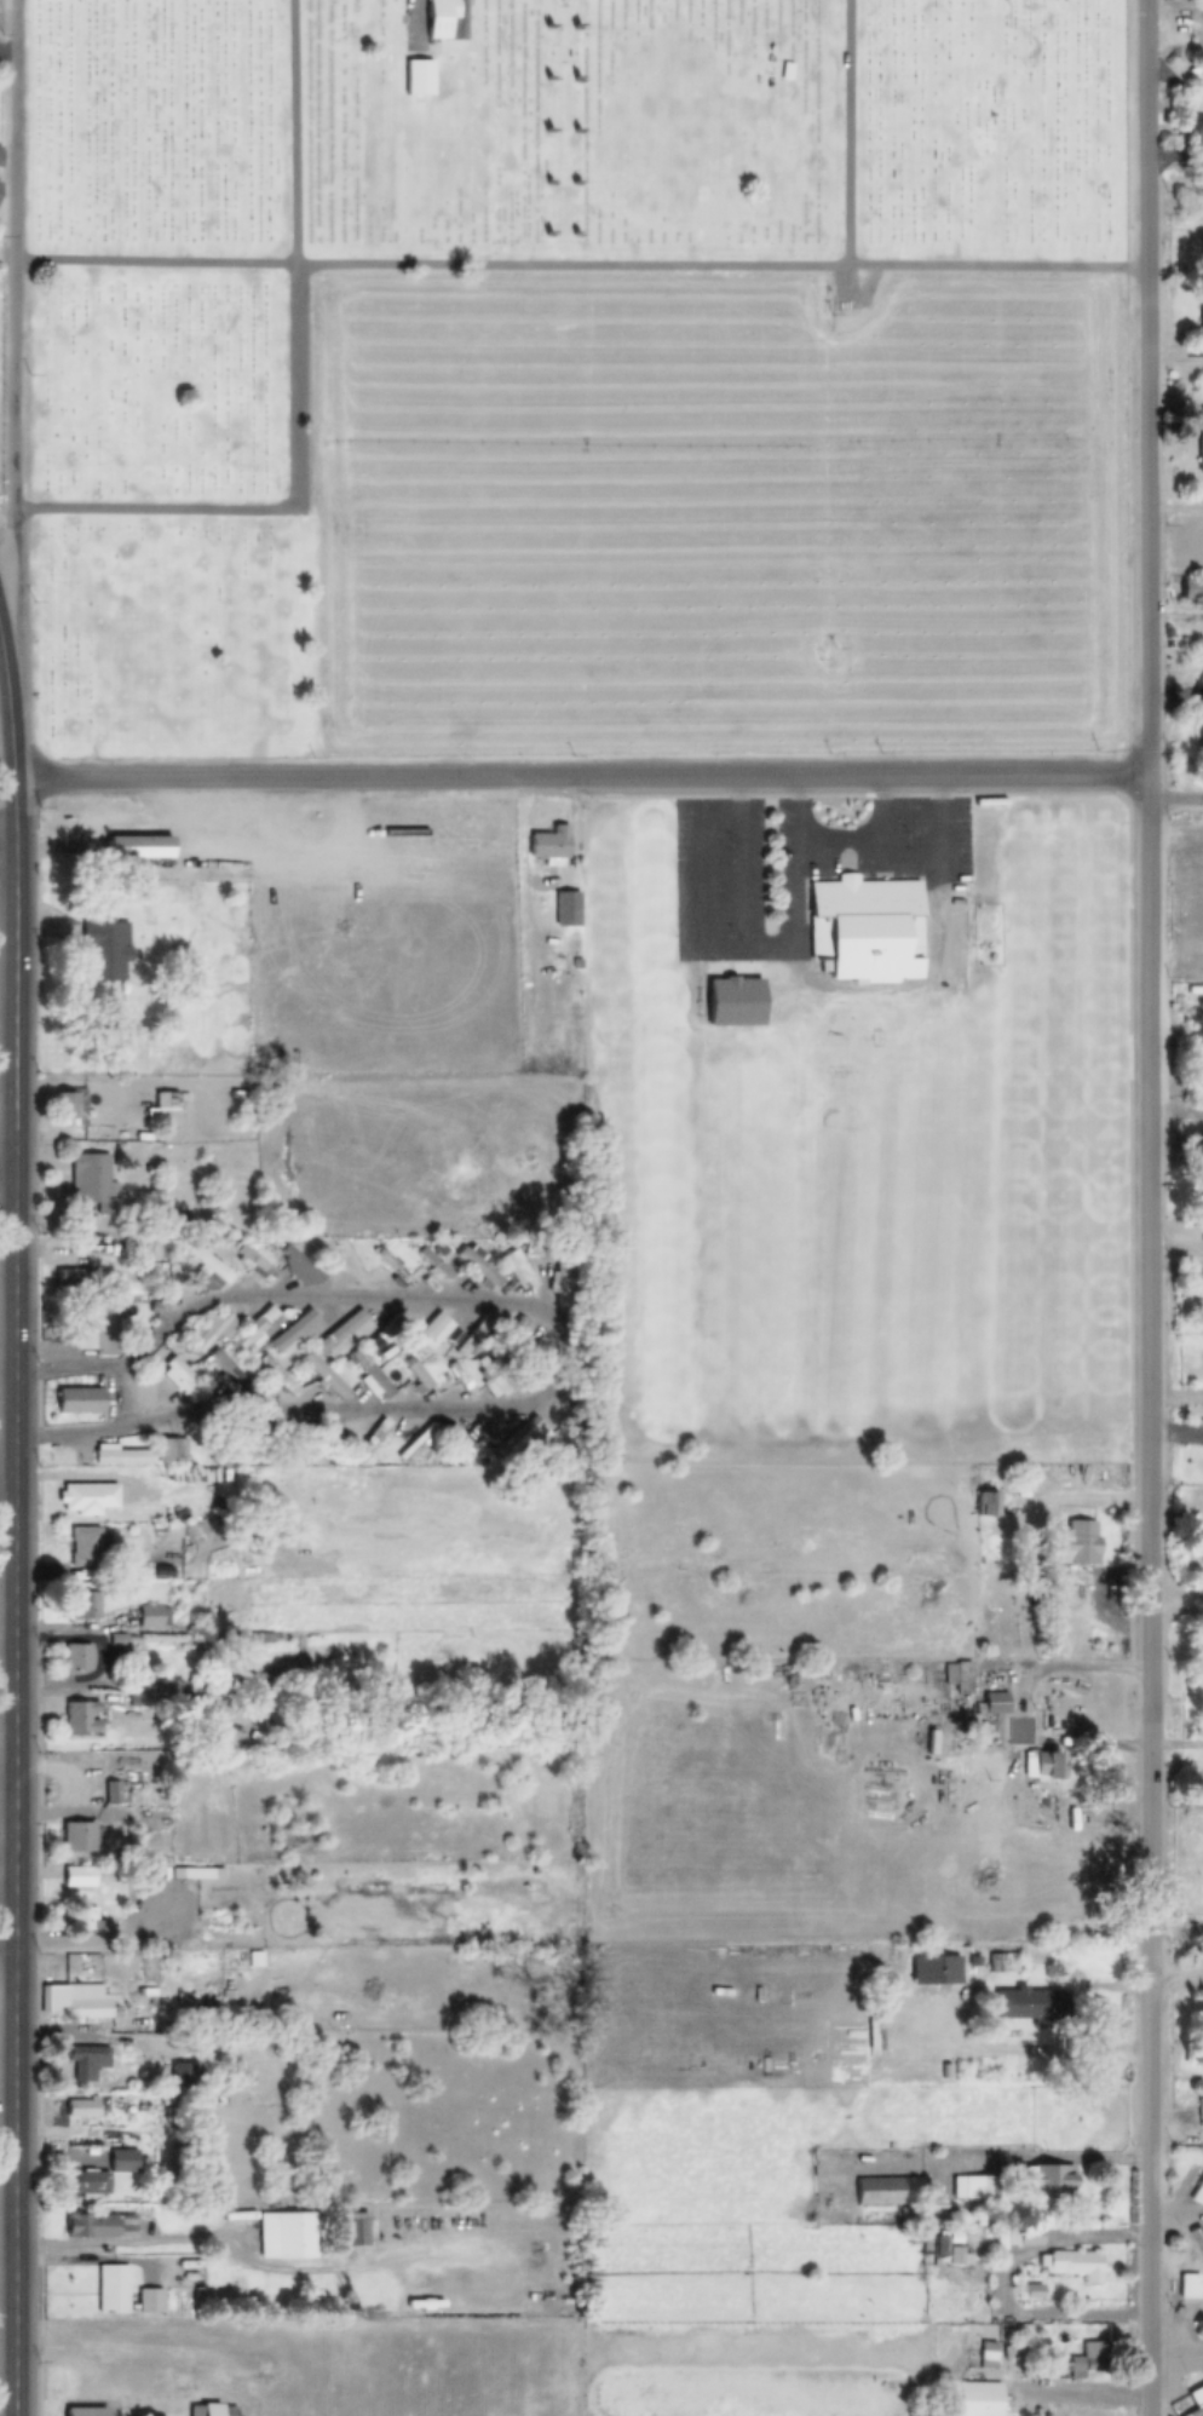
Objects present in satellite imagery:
building: (447, 21)
road: (293, 134)
road: (847, 134)
building: (0, 150)
road: (575, 269)
building: (1202, 318)
road: (10, 321)
park: (570, 378)
road: (1150, 390)
building: (1199, 444)
building: (1192, 588)
road: (1, 634)
building: (1202, 746)
road: (580, 780)
road: (1146, 792)
road: (1175, 804)
road: (8, 826)
building: (137, 846)
building: (554, 852)
road: (8, 857)
building: (566, 909)
building: (865, 928)
building: (103, 949)
building: (733, 1001)
building: (68, 1109)
building: (163, 1111)
building: (151, 1160)
road: (10, 1163)
building: (92, 1186)
building: (129, 1243)
building: (254, 1266)
building: (343, 1266)
building: (479, 1267)
building: (205, 1269)
building: (393, 1269)
building: (520, 1271)
building: (558, 1277)
building: (75, 1278)
building: (94, 1327)
building: (214, 1330)
building: (257, 1330)
building: (345, 1330)
building: (433, 1330)
building: (295, 1333)
building: (476, 1336)
building: (376, 1342)
road: (560, 1353)
building: (531, 1357)
building: (228, 1374)
building: (416, 1374)
building: (278, 1375)
building: (370, 1375)
building: (323, 1376)
building: (490, 1377)
building: (462, 1379)
building: (182, 1381)
building: (79, 1402)
building: (419, 1444)
building: (464, 1445)
building: (231, 1446)
building: (169, 1451)
building: (119, 1456)
road: (129, 1477)
road: (8, 1478)
building: (87, 1499)
building: (986, 1506)
road: (17, 1528)
building: (1075, 1546)
building: (85, 1547)
road: (1176, 1605)
building: (85, 1606)
road: (1150, 1610)
building: (152, 1617)
building: (76, 1658)
building: (288, 1670)
road: (1077, 1670)
building: (957, 1676)
building: (259, 1684)
building: (995, 1703)
building: (81, 1719)
building: (1041, 1766)
building: (77, 1839)
building: (77, 1879)
building: (85, 1920)
road: (1175, 1928)
road: (6, 1938)
building: (880, 1965)
building: (1002, 1965)
road: (1049, 1985)
road: (1176, 1985)
building: (74, 2001)
building: (1029, 2023)
road: (1046, 2047)
building: (86, 2063)
road: (5, 2101)
building: (81, 2109)
building: (1201, 2113)
building: (122, 2162)
road: (1042, 2164)
building: (1046, 2182)
building: (87, 2184)
building: (968, 2187)
building: (891, 2191)
building: (1197, 2193)
road: (1178, 2220)
building: (100, 2227)
building: (358, 2231)
road: (6, 2236)
building: (297, 2237)
building: (1026, 2237)
building: (1198, 2243)
road: (138, 2245)
building: (1075, 2265)
building: (1188, 2285)
building: (113, 2289)
building: (1199, 2332)
building: (1088, 2360)
road: (1178, 2363)
road: (1081, 2388)
building: (978, 2399)
building: (1196, 2400)
building: (87, 2412)

